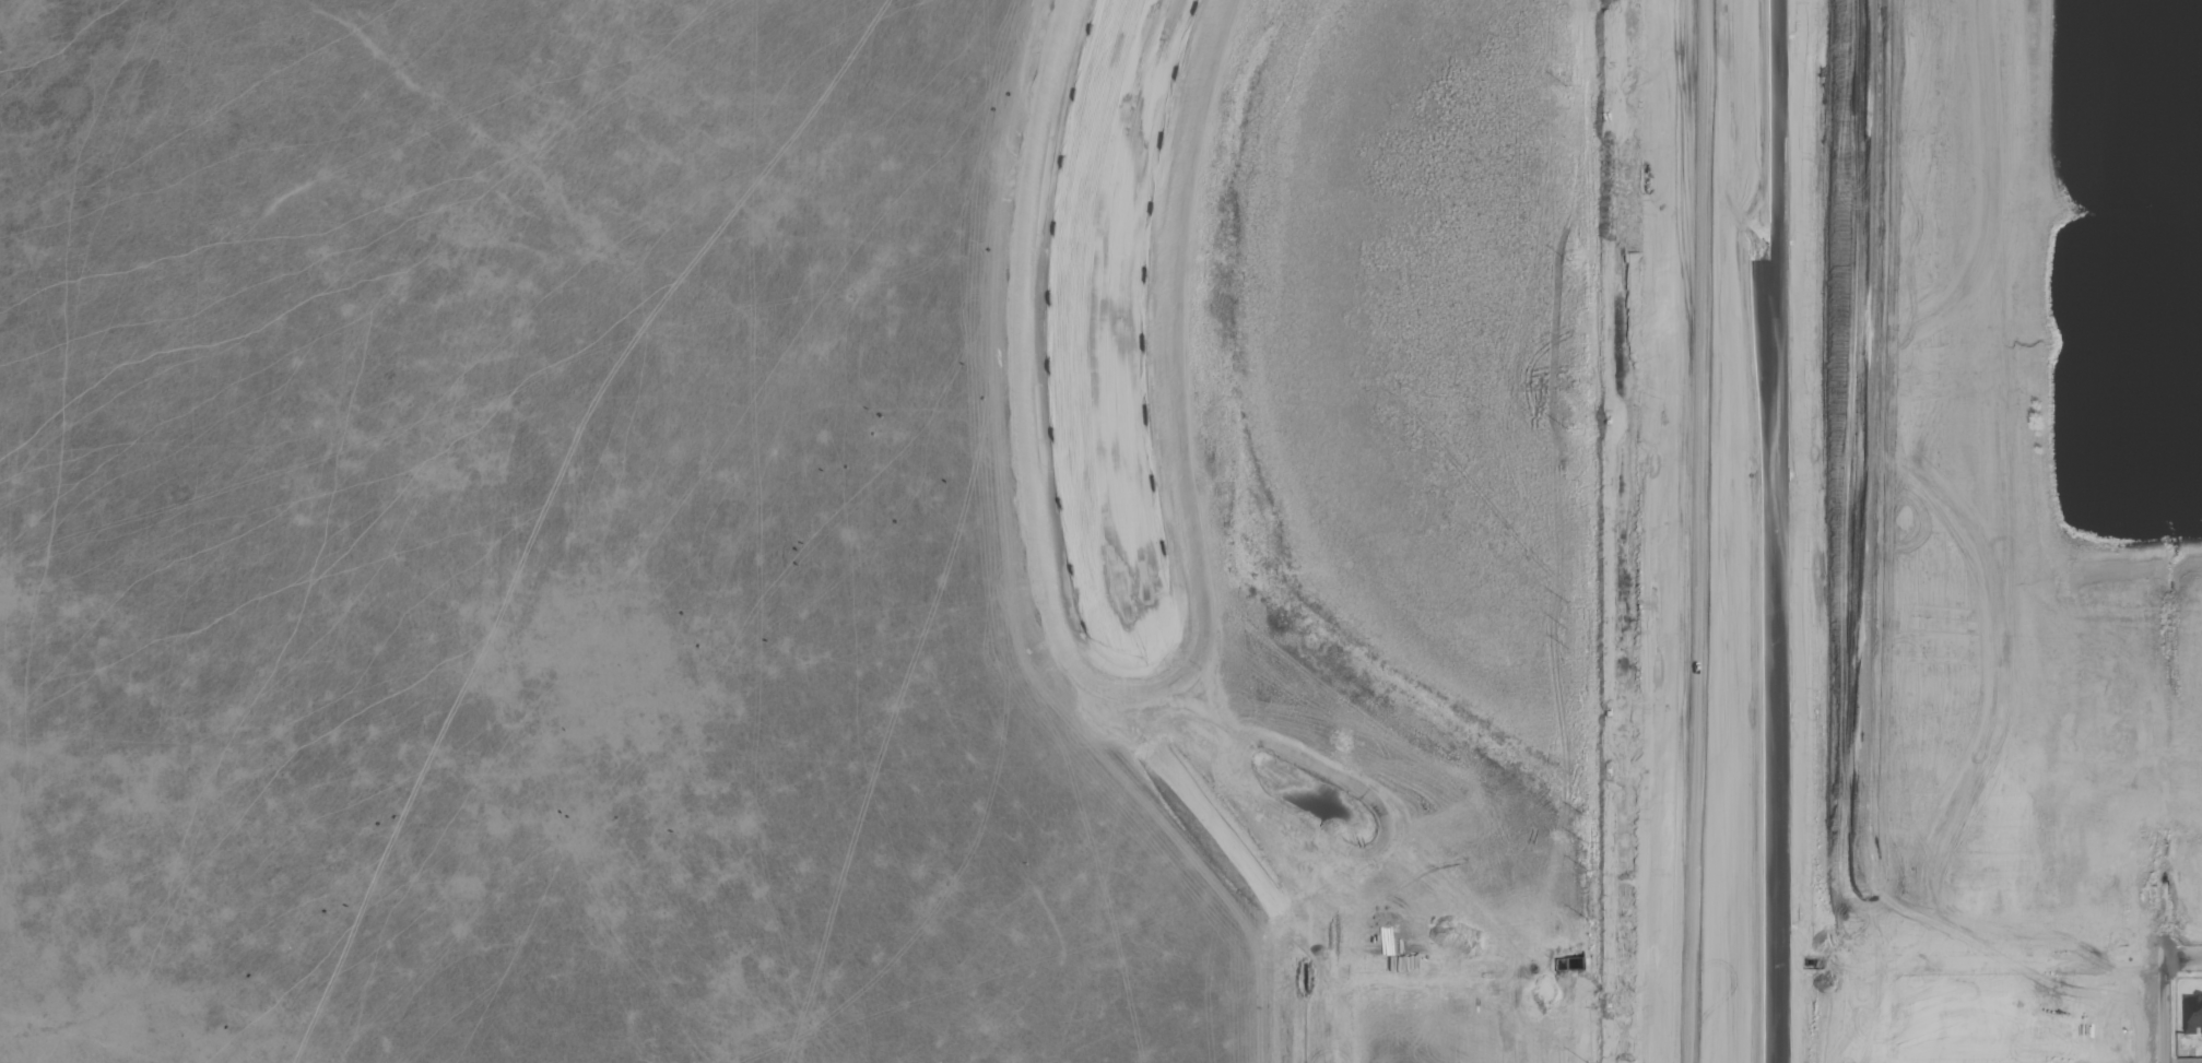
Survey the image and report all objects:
road: (1602, 531)
road: (1777, 531)
road: (2182, 957)
road: (2163, 1011)
building: (2193, 1014)
road: (2017, 1062)

